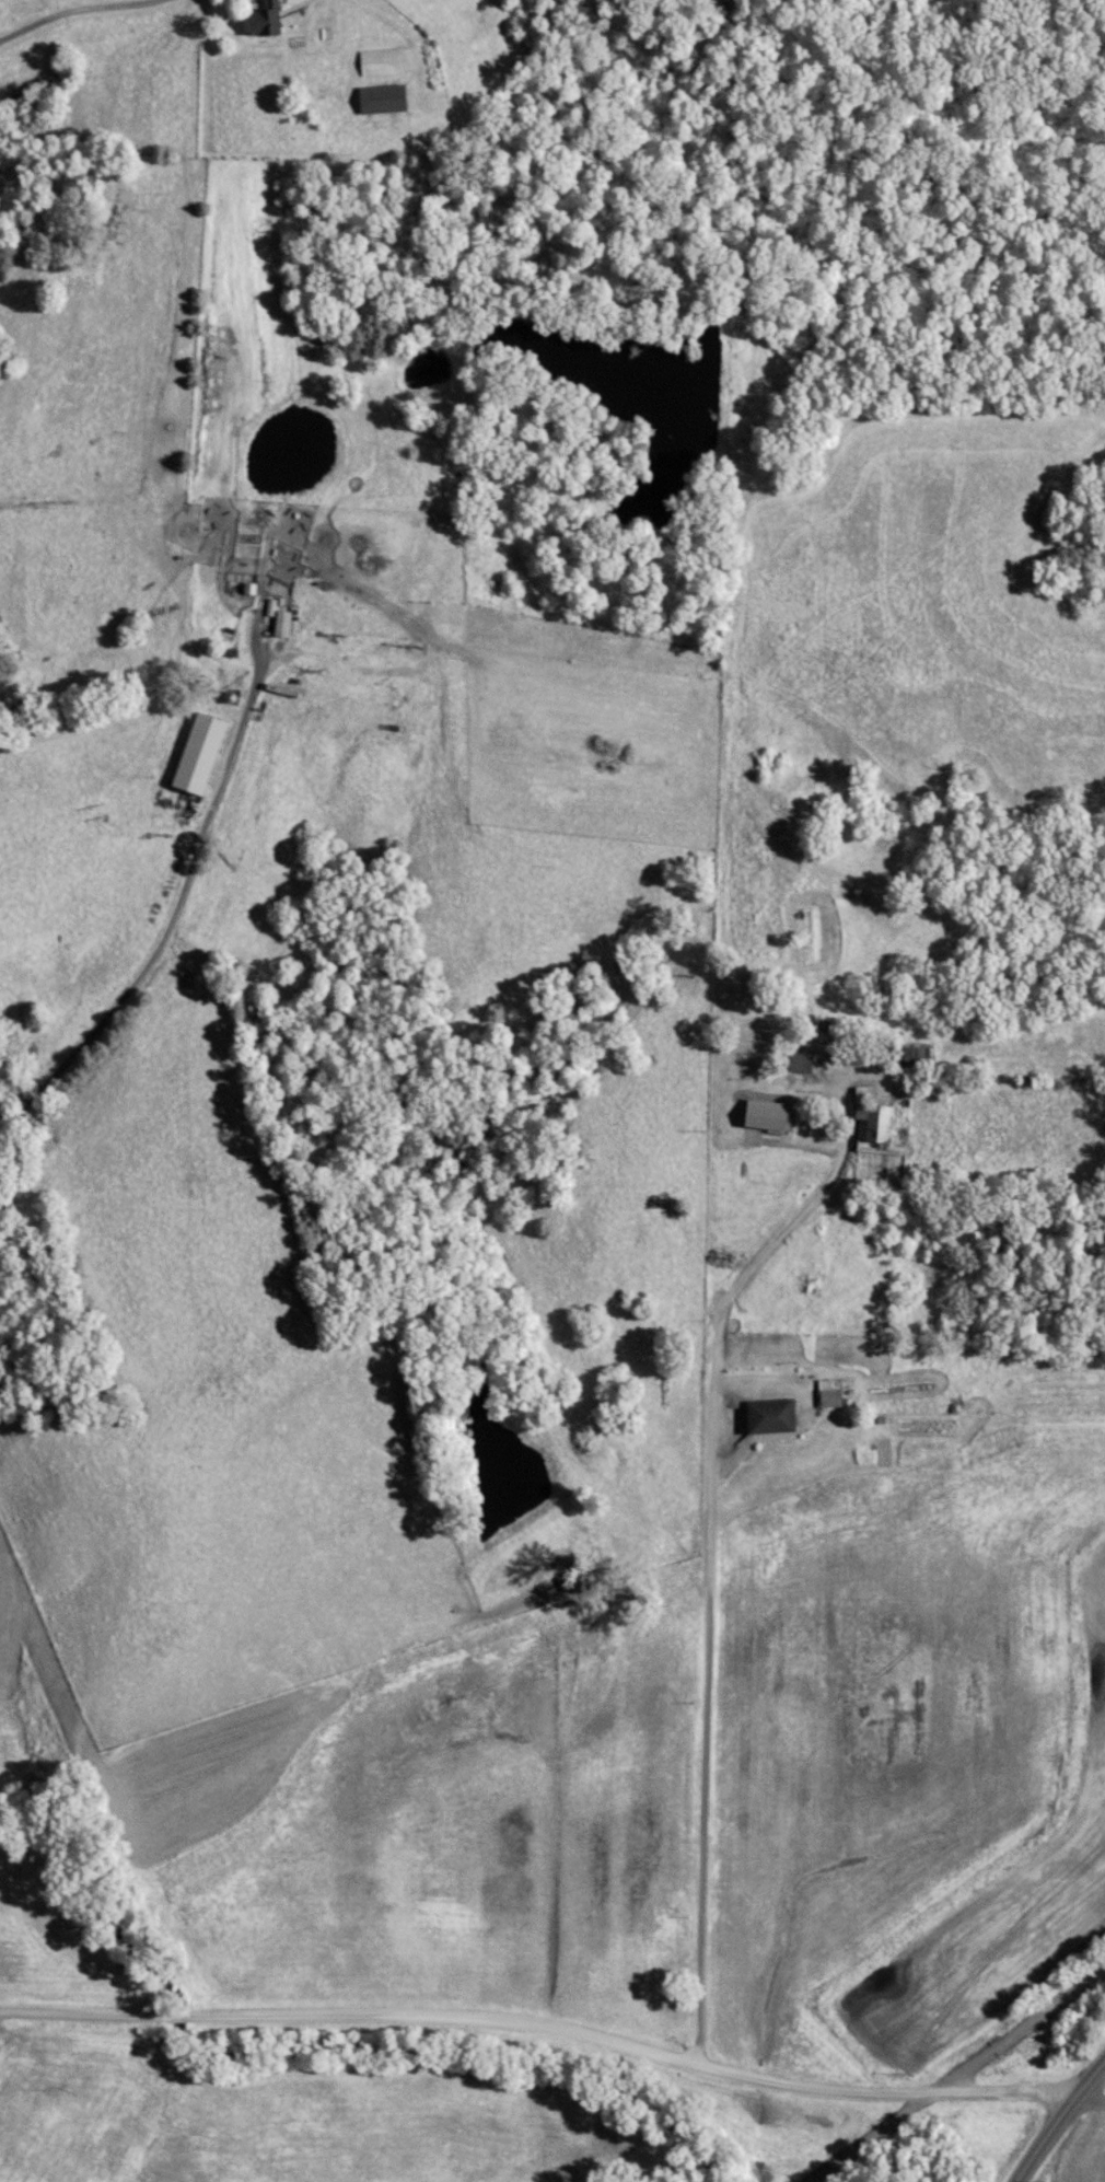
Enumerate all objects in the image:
road: (81, 14)
building: (259, 22)
building: (379, 63)
building: (377, 101)
building: (489, 626)
building: (194, 756)
building: (763, 916)
road: (129, 982)
building: (908, 1057)
building: (794, 1064)
building: (761, 1115)
building: (870, 1125)
building: (831, 1393)
building: (766, 1416)
road: (713, 1579)
road: (354, 2017)
road: (957, 2076)
road: (888, 2093)
road: (1059, 2121)

